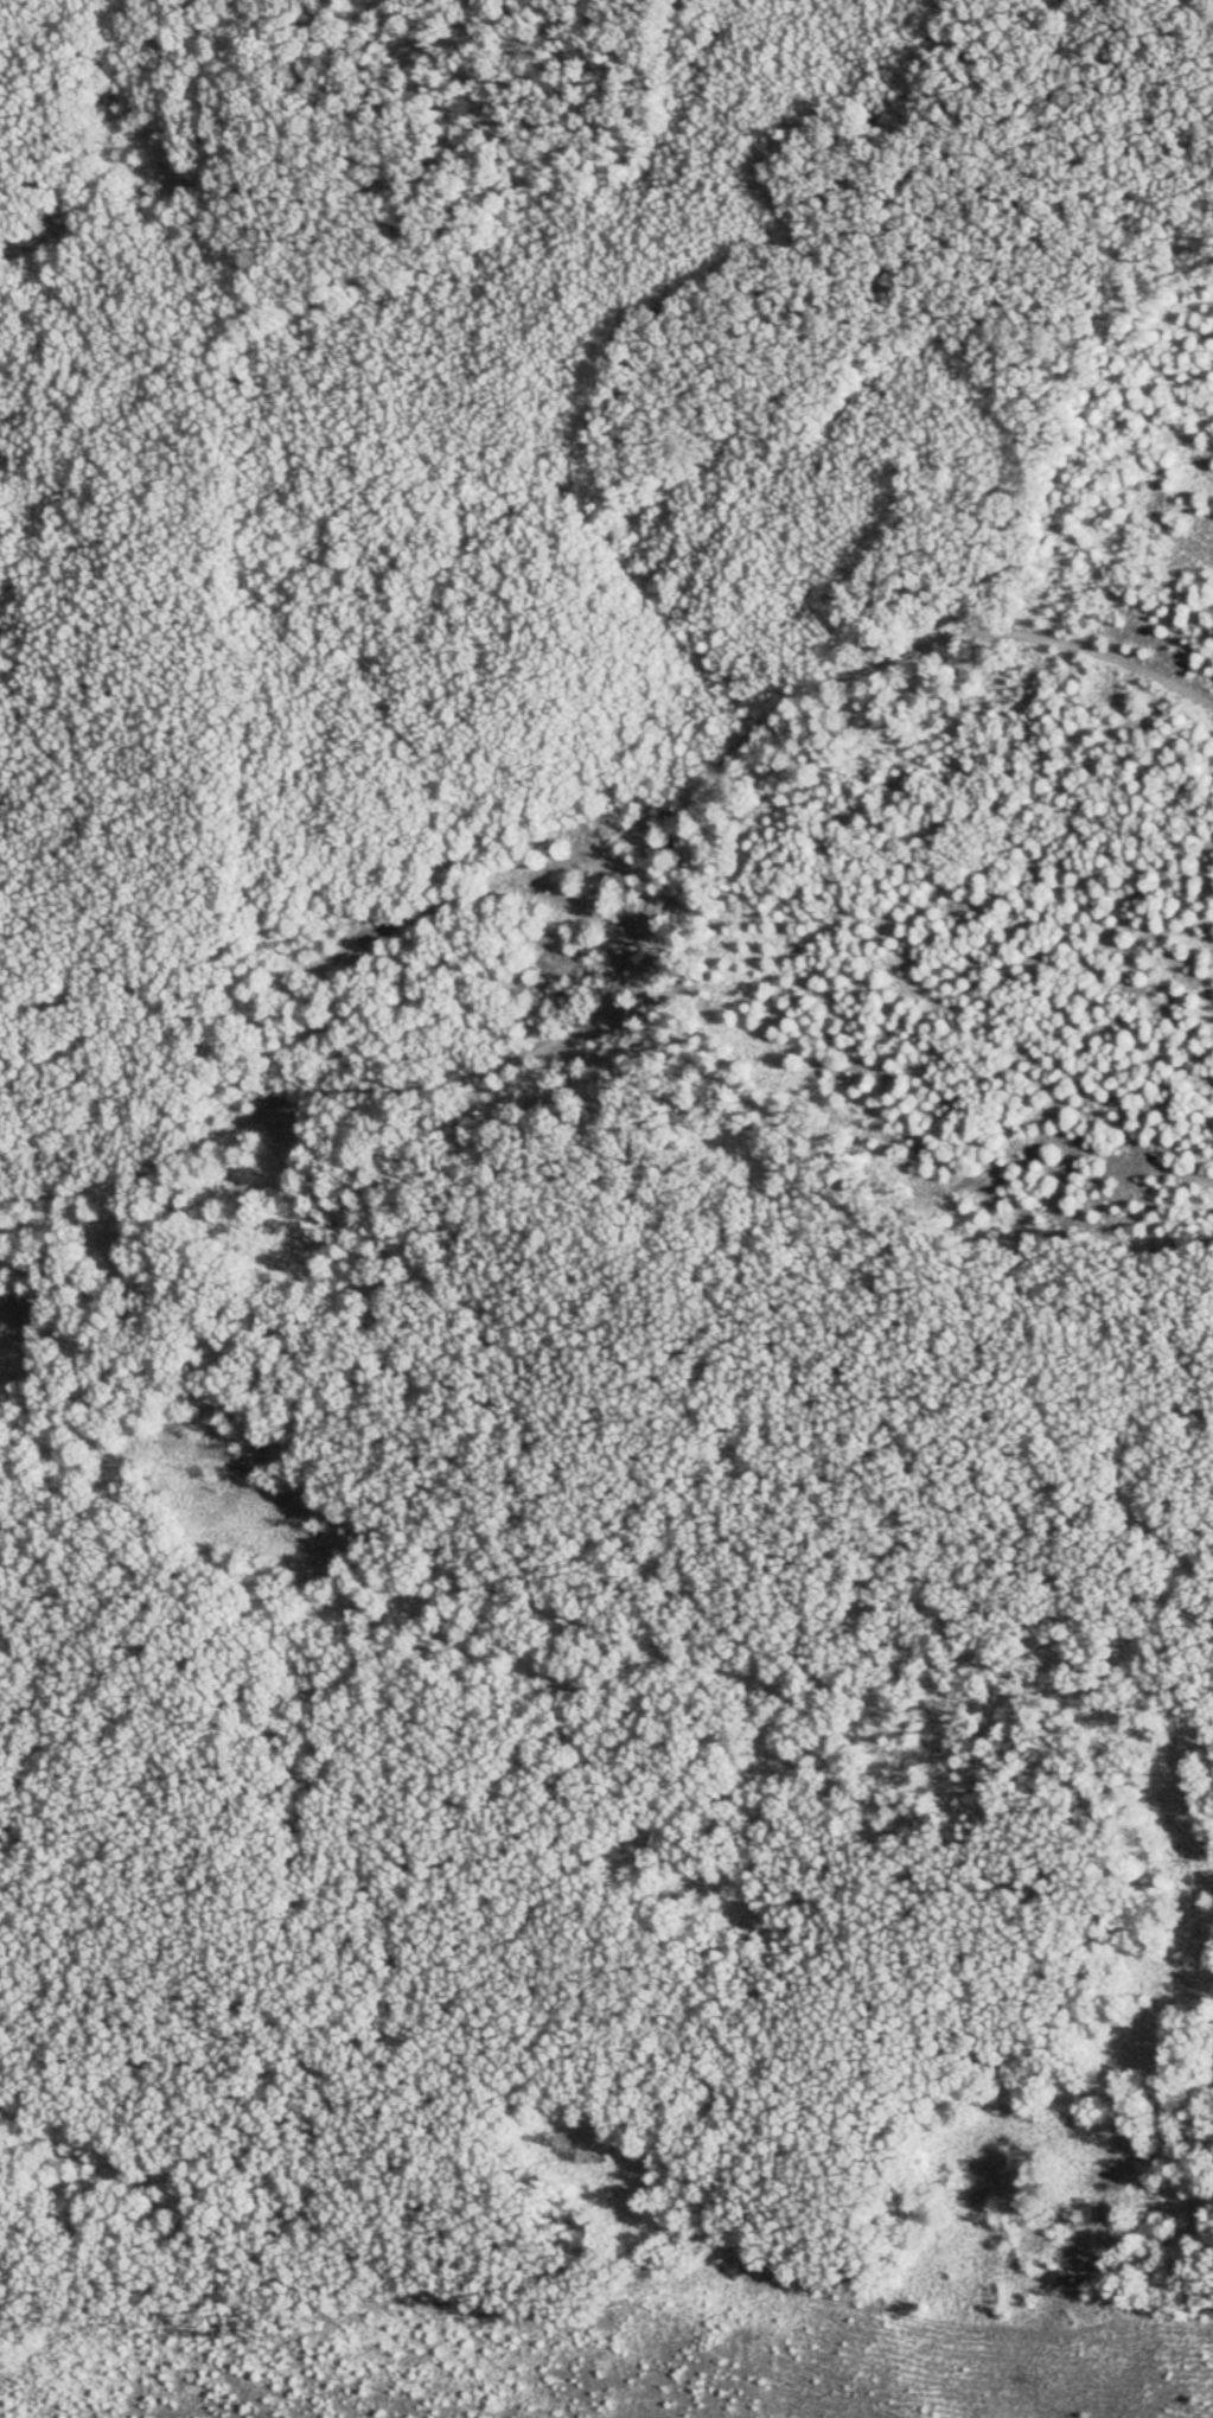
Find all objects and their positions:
road: (632, 938)

